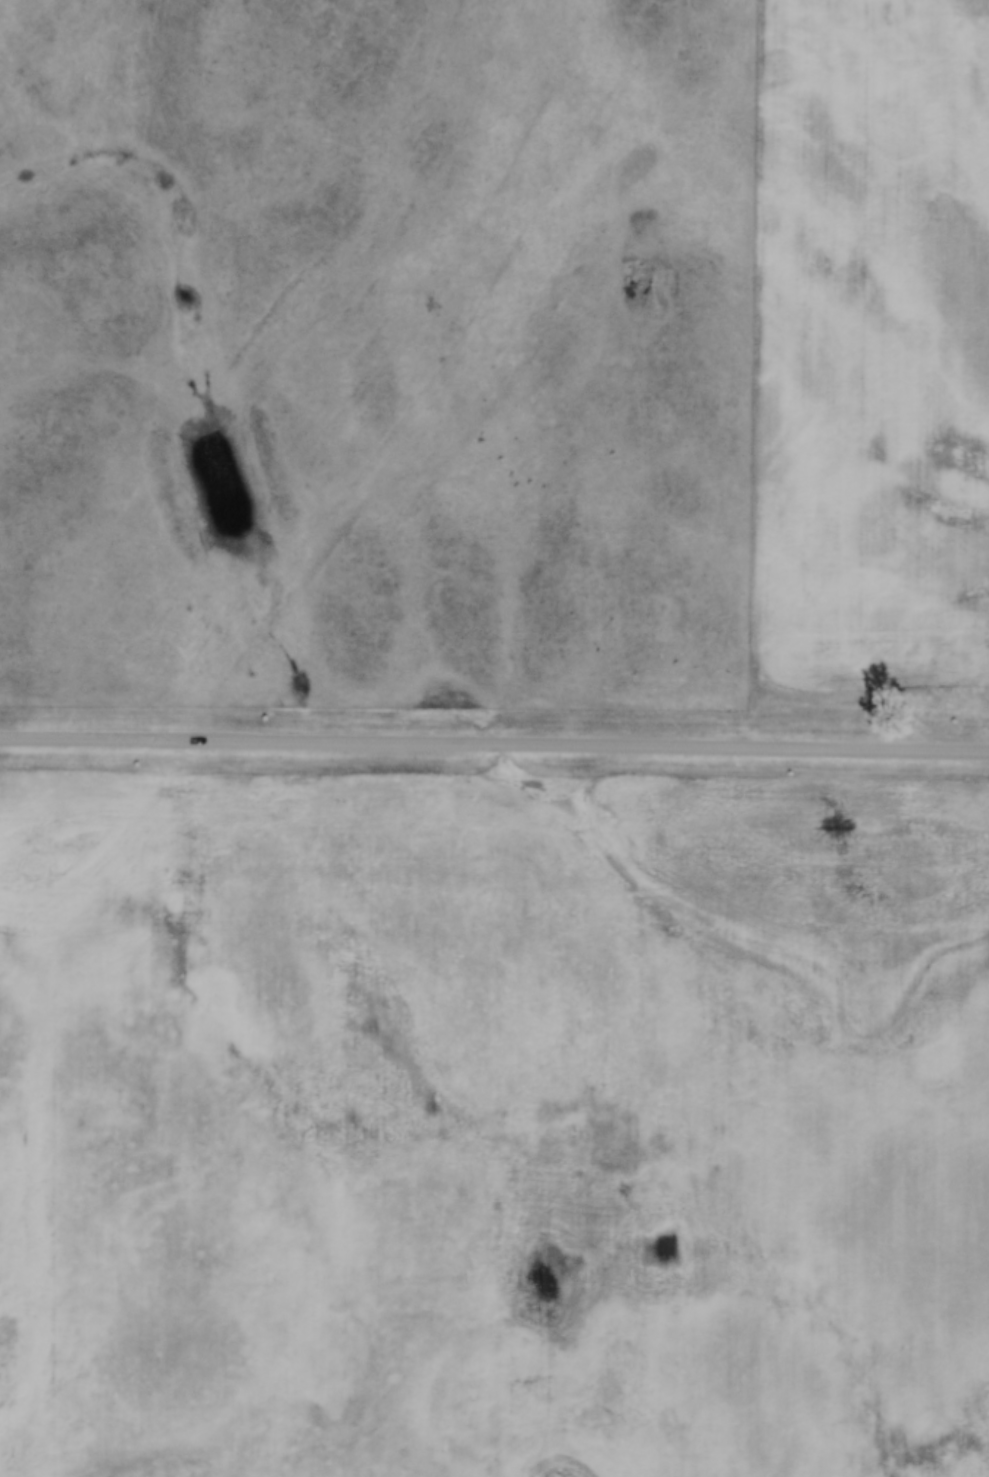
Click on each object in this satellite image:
road: (714, 506)
road: (494, 744)

